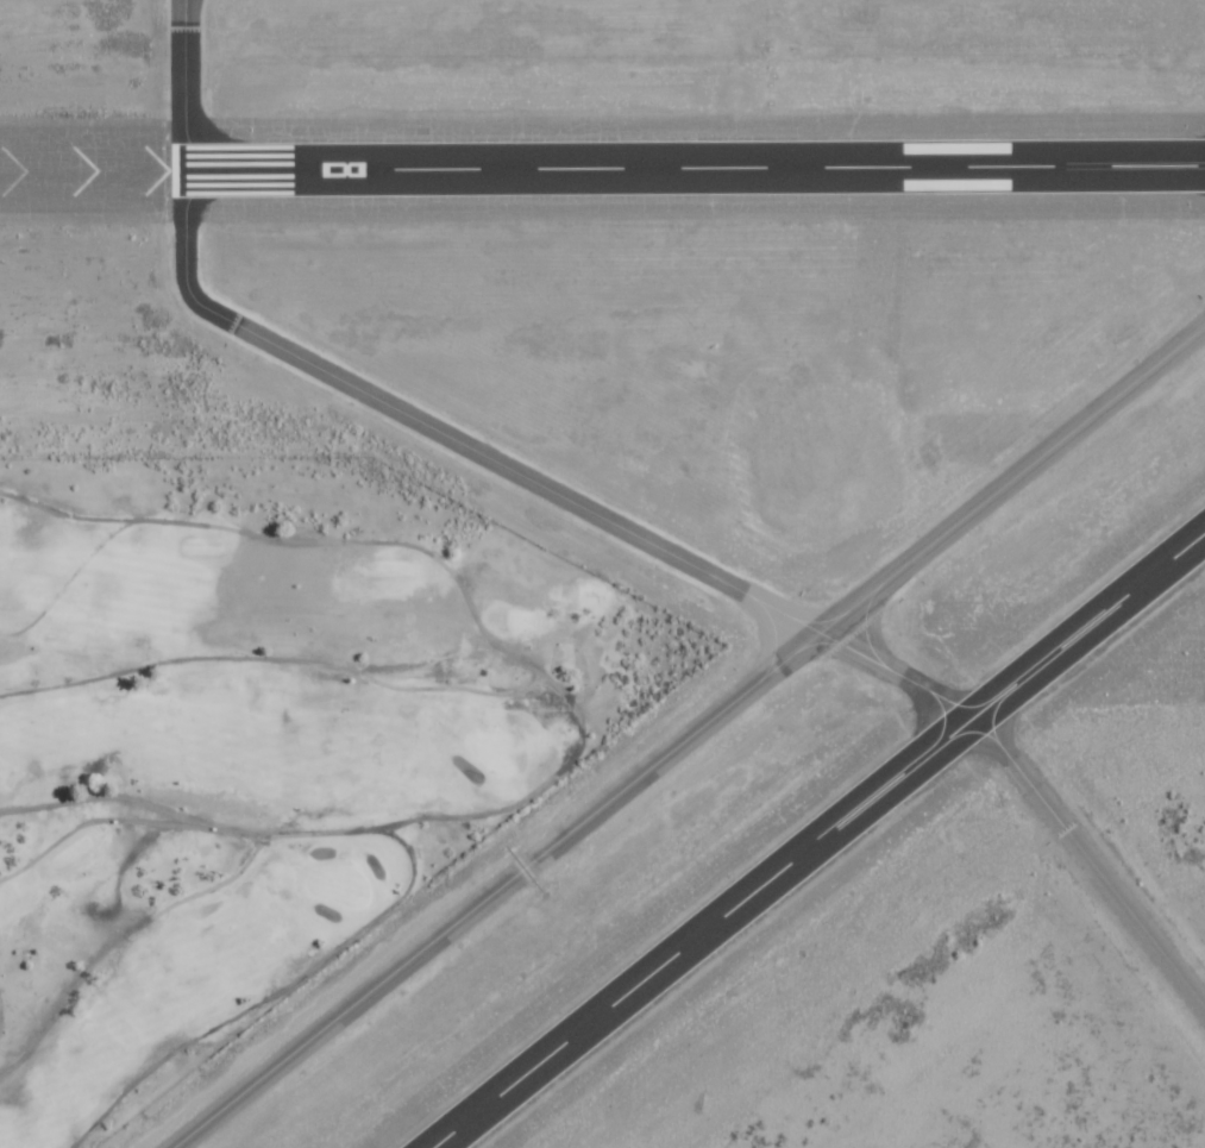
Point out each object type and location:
airport taxiway: (182, 82)
airport runway: (693, 167)
airport taxiway: (685, 570)
airport taxiway: (689, 736)
park: (257, 739)
airport runway: (817, 839)

